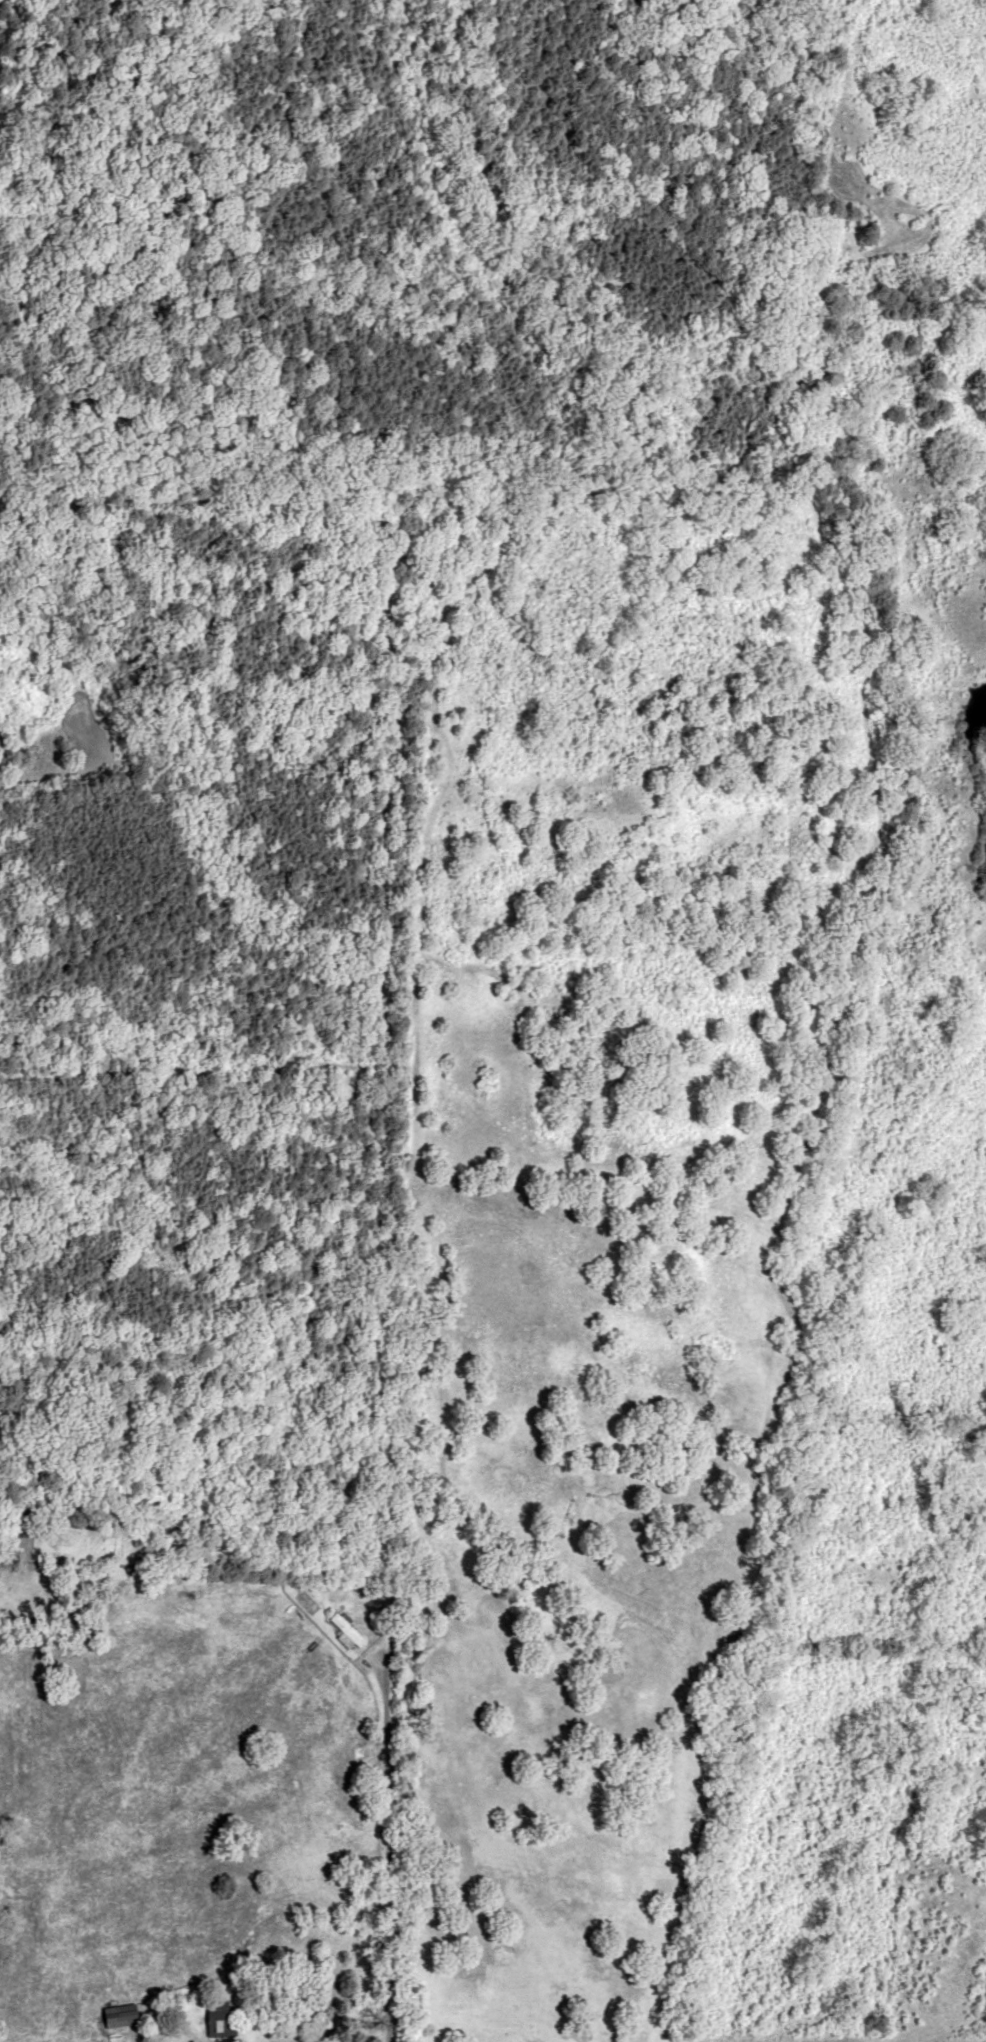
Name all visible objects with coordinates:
building: (23, 1522)
building: (348, 1632)
building: (121, 2016)
building: (219, 2019)

